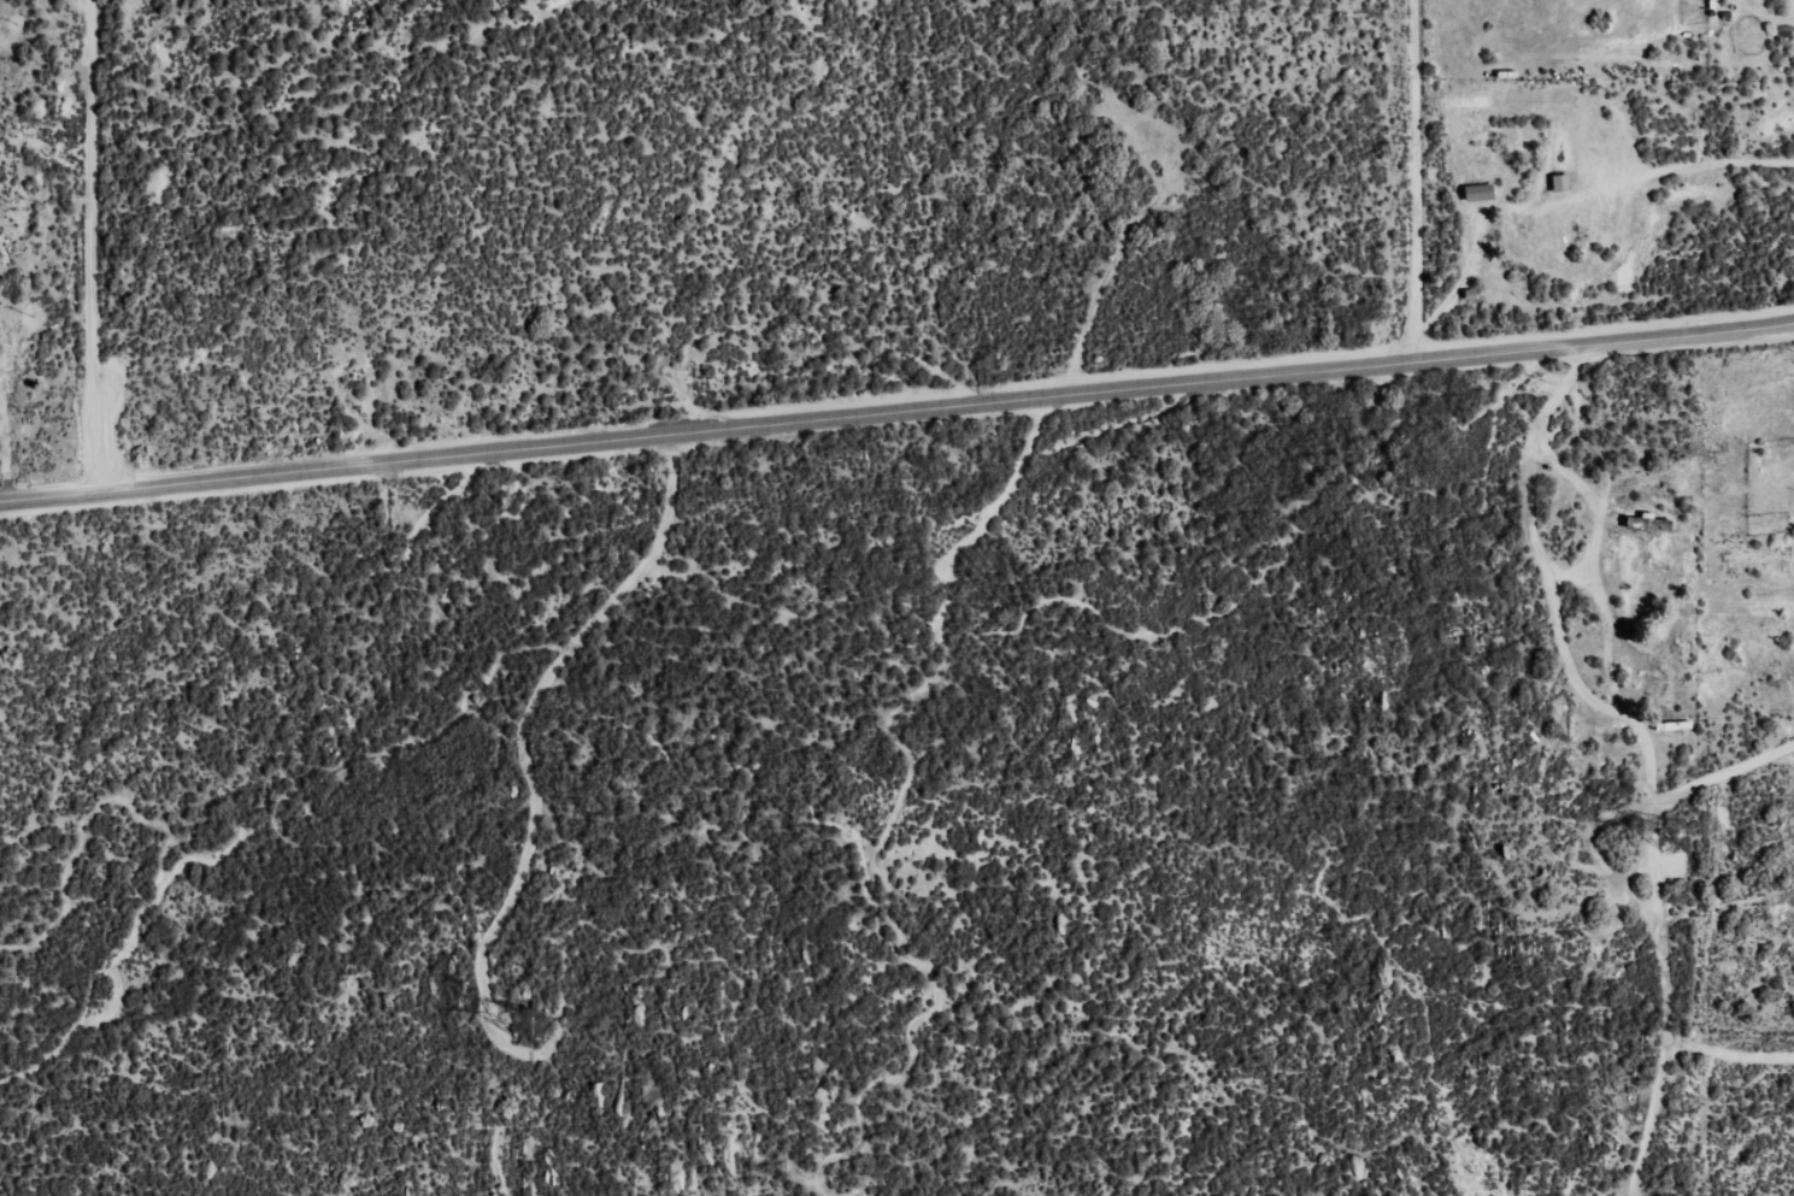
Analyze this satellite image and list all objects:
building: (1563, 183)
building: (1481, 193)
road: (896, 414)
power tower: (1661, 837)
power tower: (524, 1027)

